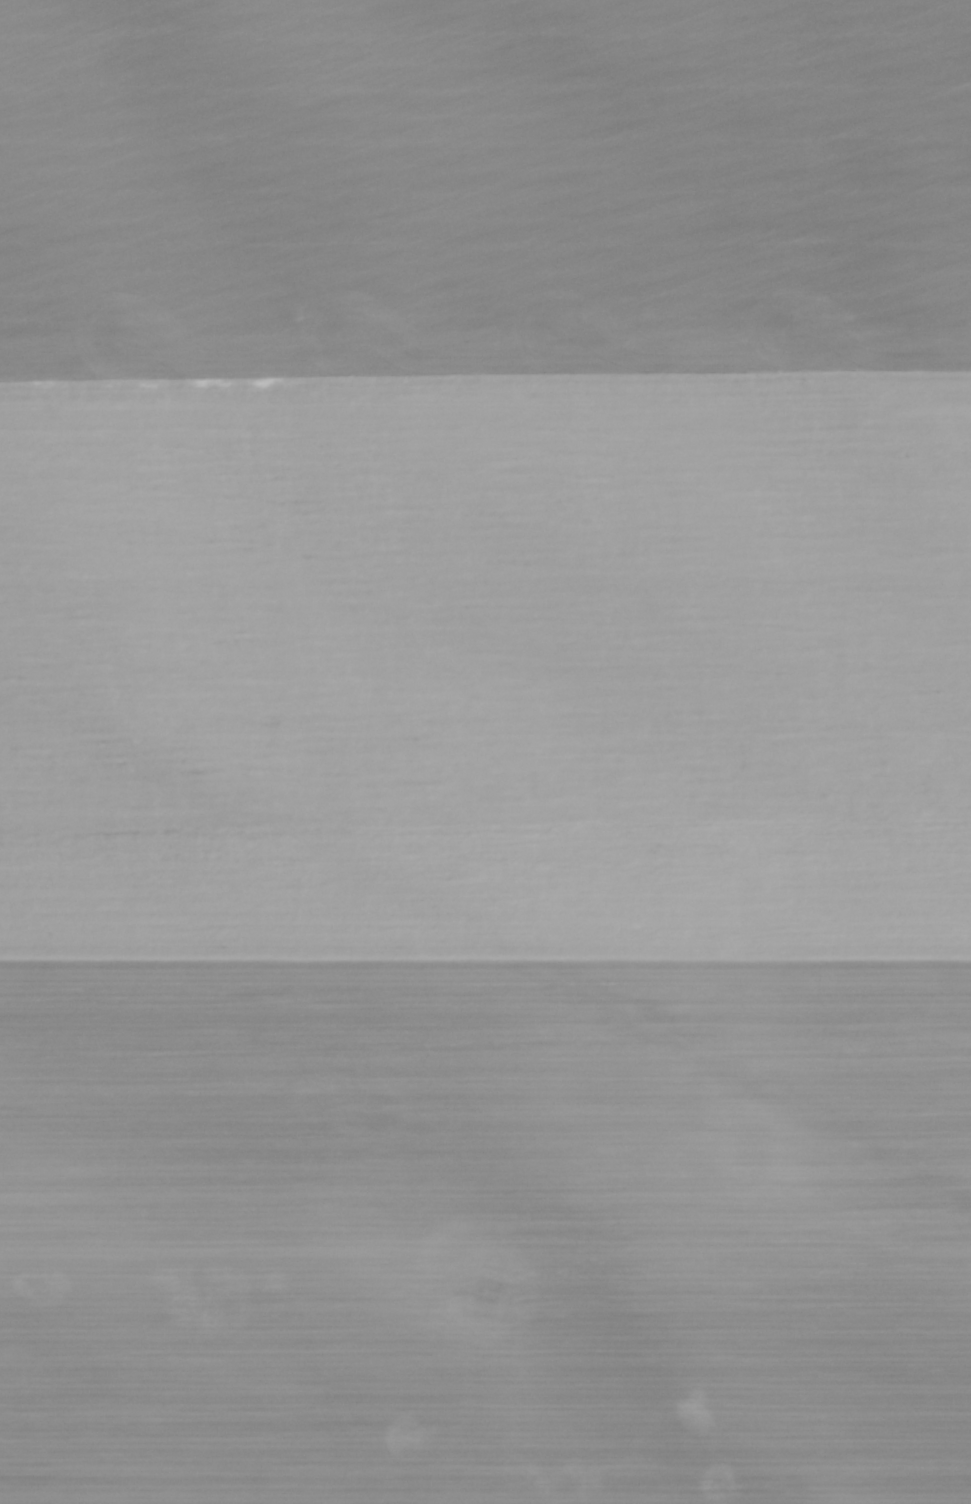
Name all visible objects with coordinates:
crop: (485, 752)

